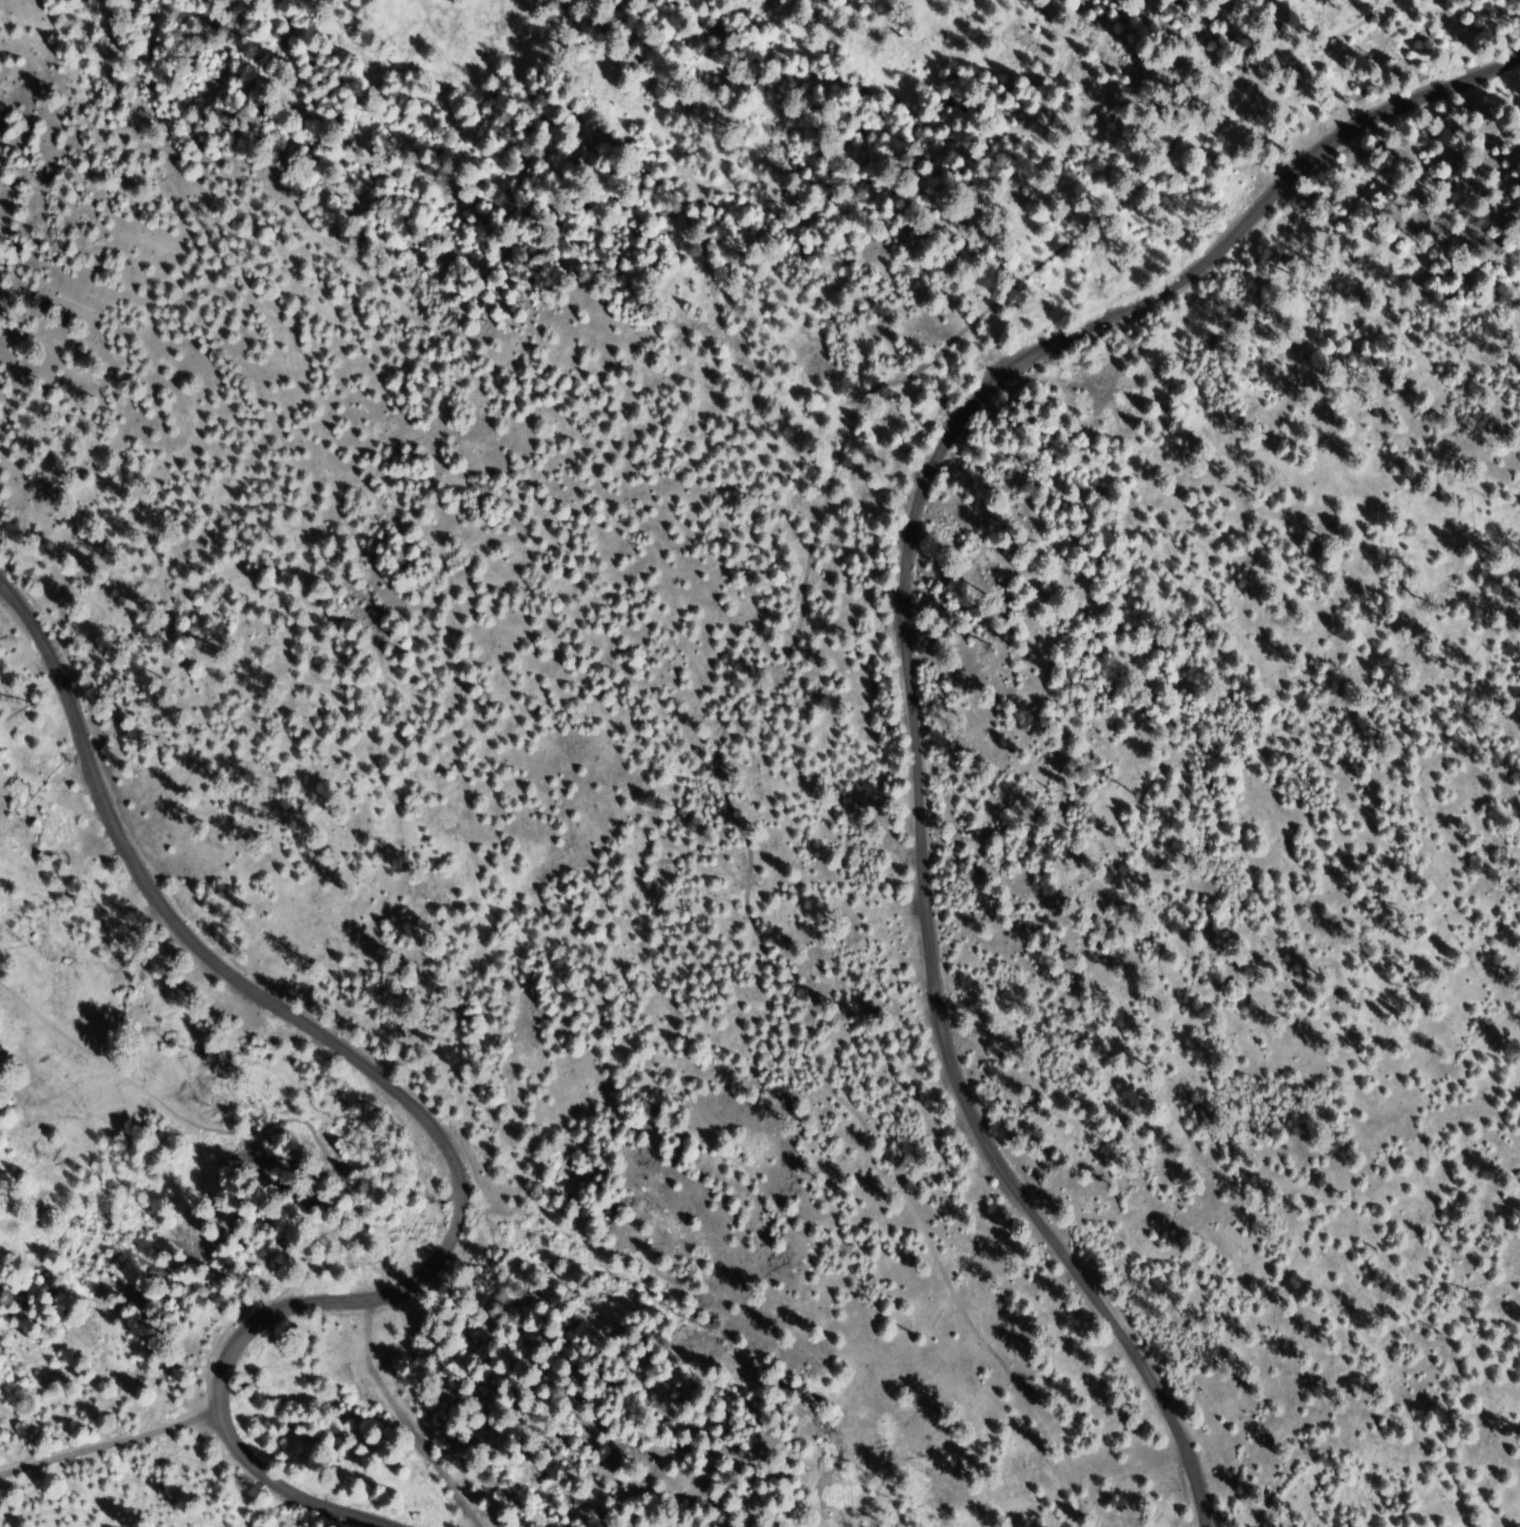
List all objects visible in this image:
road: (974, 702)
road: (406, 1107)
road: (107, 1443)

